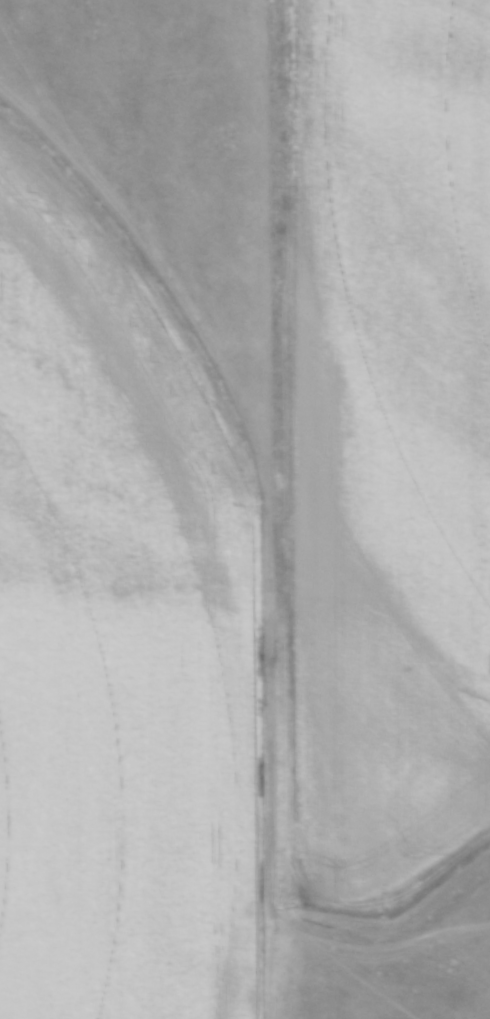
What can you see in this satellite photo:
crop: (391, 438)
crop: (116, 647)

